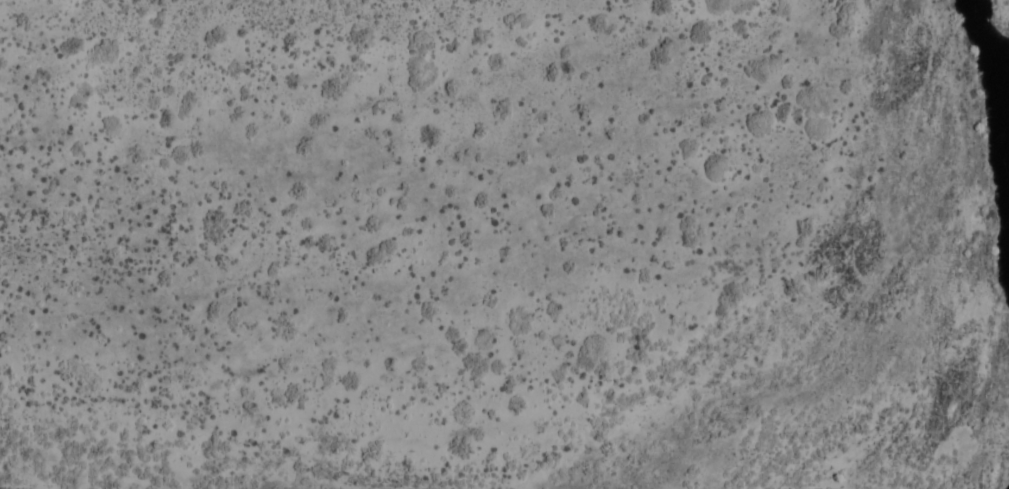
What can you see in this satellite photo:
river: (986, 45)

